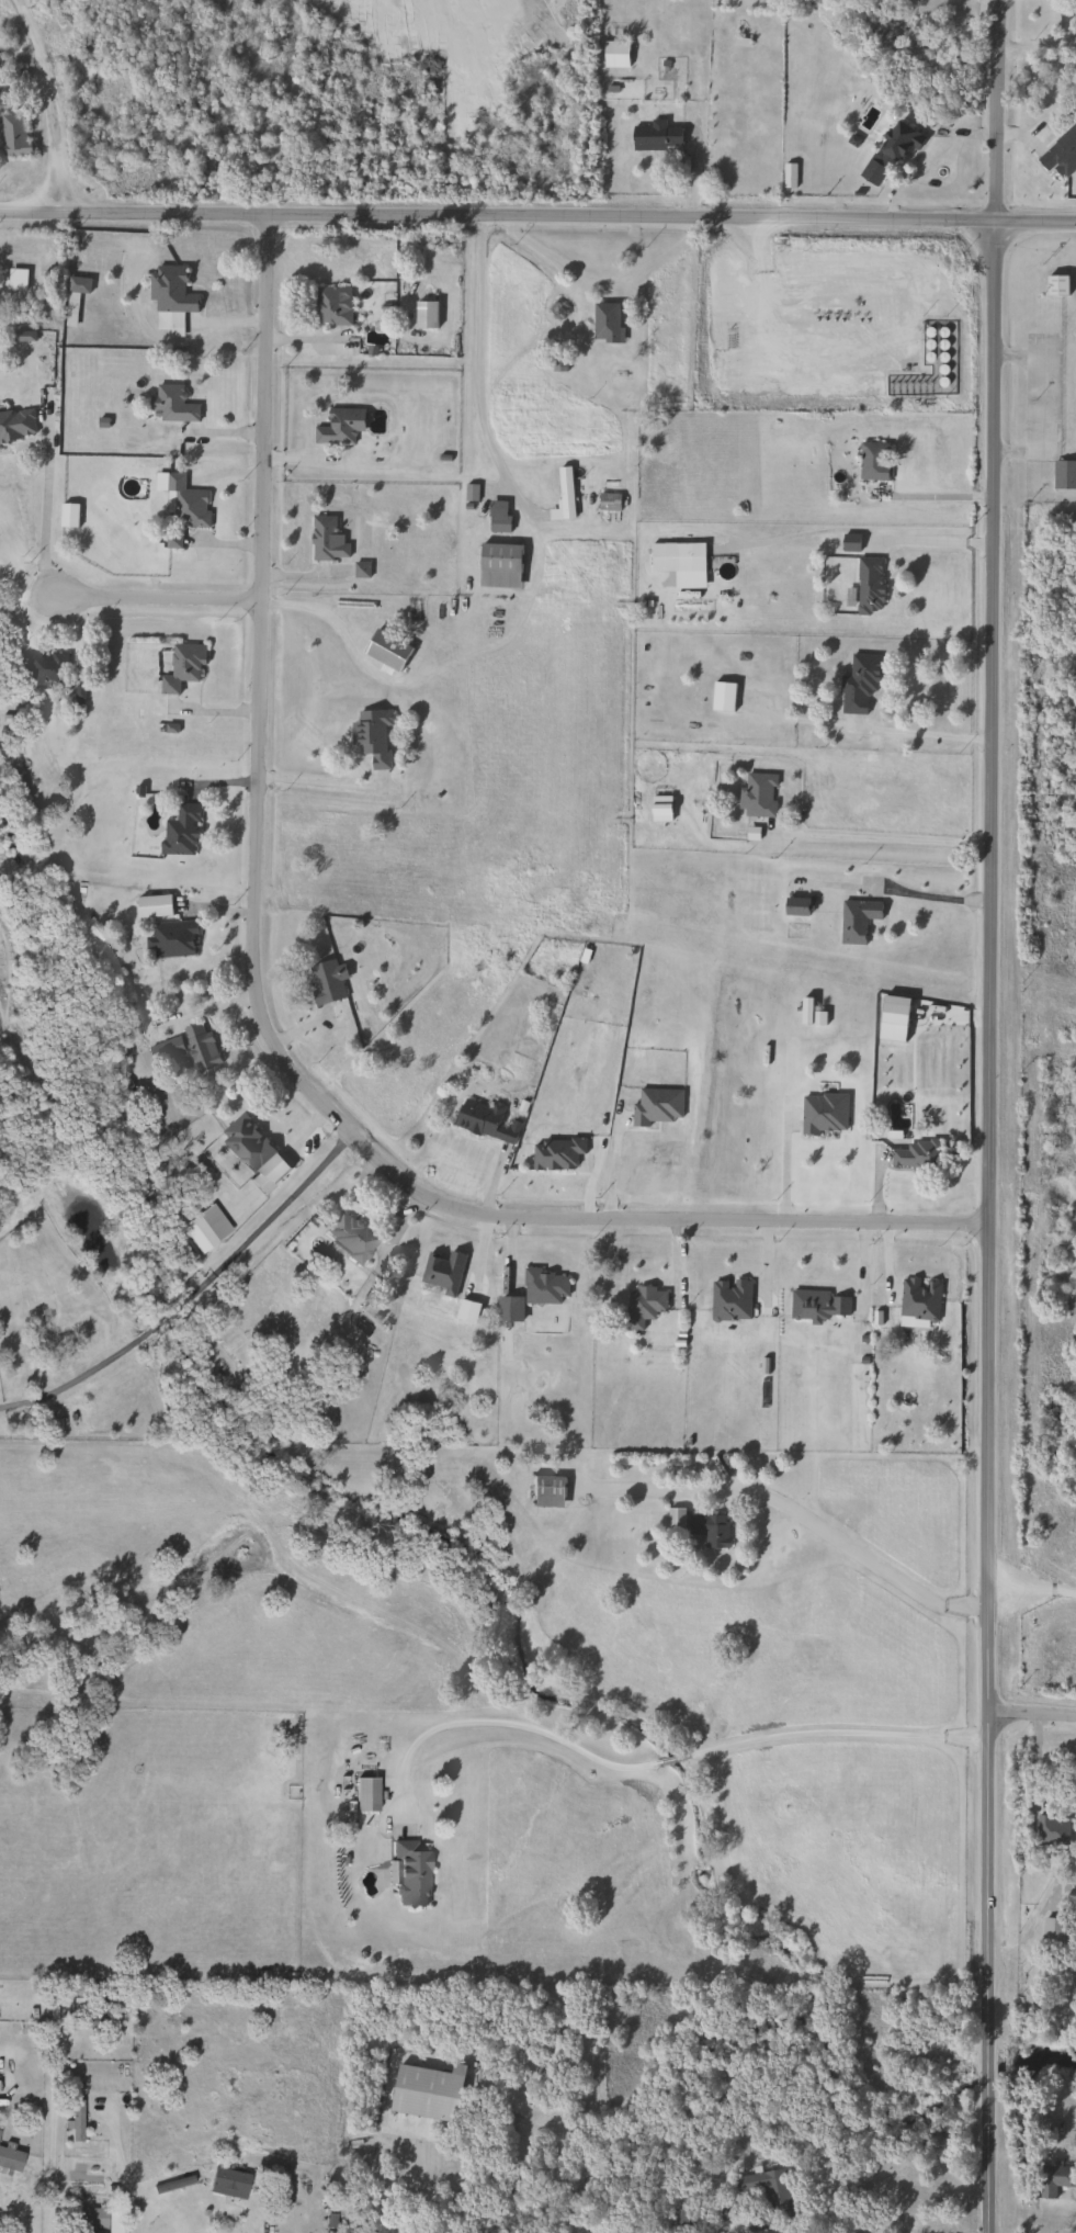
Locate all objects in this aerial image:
building: (614, 55)
road: (50, 101)
road: (1000, 109)
building: (12, 135)
building: (655, 136)
building: (890, 150)
building: (1061, 155)
road: (935, 162)
building: (788, 176)
road: (499, 210)
road: (1038, 219)
building: (1055, 286)
building: (73, 296)
building: (169, 297)
building: (332, 305)
building: (424, 315)
building: (605, 324)
road: (475, 364)
building: (1075, 387)
building: (172, 405)
building: (16, 425)
building: (339, 427)
building: (873, 461)
building: (1064, 475)
building: (562, 496)
building: (608, 503)
building: (184, 504)
road: (45, 507)
building: (497, 517)
road: (930, 532)
building: (326, 540)
building: (849, 543)
building: (669, 559)
building: (498, 566)
building: (869, 584)
road: (159, 599)
building: (385, 650)
building: (181, 668)
building: (43, 670)
building: (858, 683)
building: (371, 735)
road: (324, 780)
building: (757, 794)
building: (659, 808)
building: (180, 831)
road: (885, 837)
road: (929, 894)
building: (794, 903)
building: (856, 918)
building: (171, 937)
building: (326, 979)
road: (264, 1019)
building: (183, 1049)
building: (655, 1105)
building: (823, 1113)
building: (476, 1115)
building: (243, 1142)
building: (913, 1154)
road: (613, 1168)
road: (785, 1170)
road: (992, 1226)
building: (199, 1232)
building: (349, 1236)
building: (441, 1271)
building: (544, 1285)
road: (191, 1290)
building: (818, 1302)
building: (642, 1304)
building: (508, 1308)
building: (544, 1490)
building: (673, 1518)
building: (710, 1529)
road: (847, 1546)
road: (1033, 1586)
road: (1033, 1716)
road: (669, 1759)
building: (363, 1794)
building: (1051, 1829)
building: (408, 1871)
building: (1051, 1933)
building: (88, 2009)
building: (551, 2049)
building: (424, 2091)
building: (73, 2120)
road: (52, 2134)
building: (9, 2159)
building: (1054, 2178)
road: (456, 2179)
building: (225, 2183)
building: (777, 2193)
road: (245, 2212)
building: (86, 2219)
building: (756, 2220)

